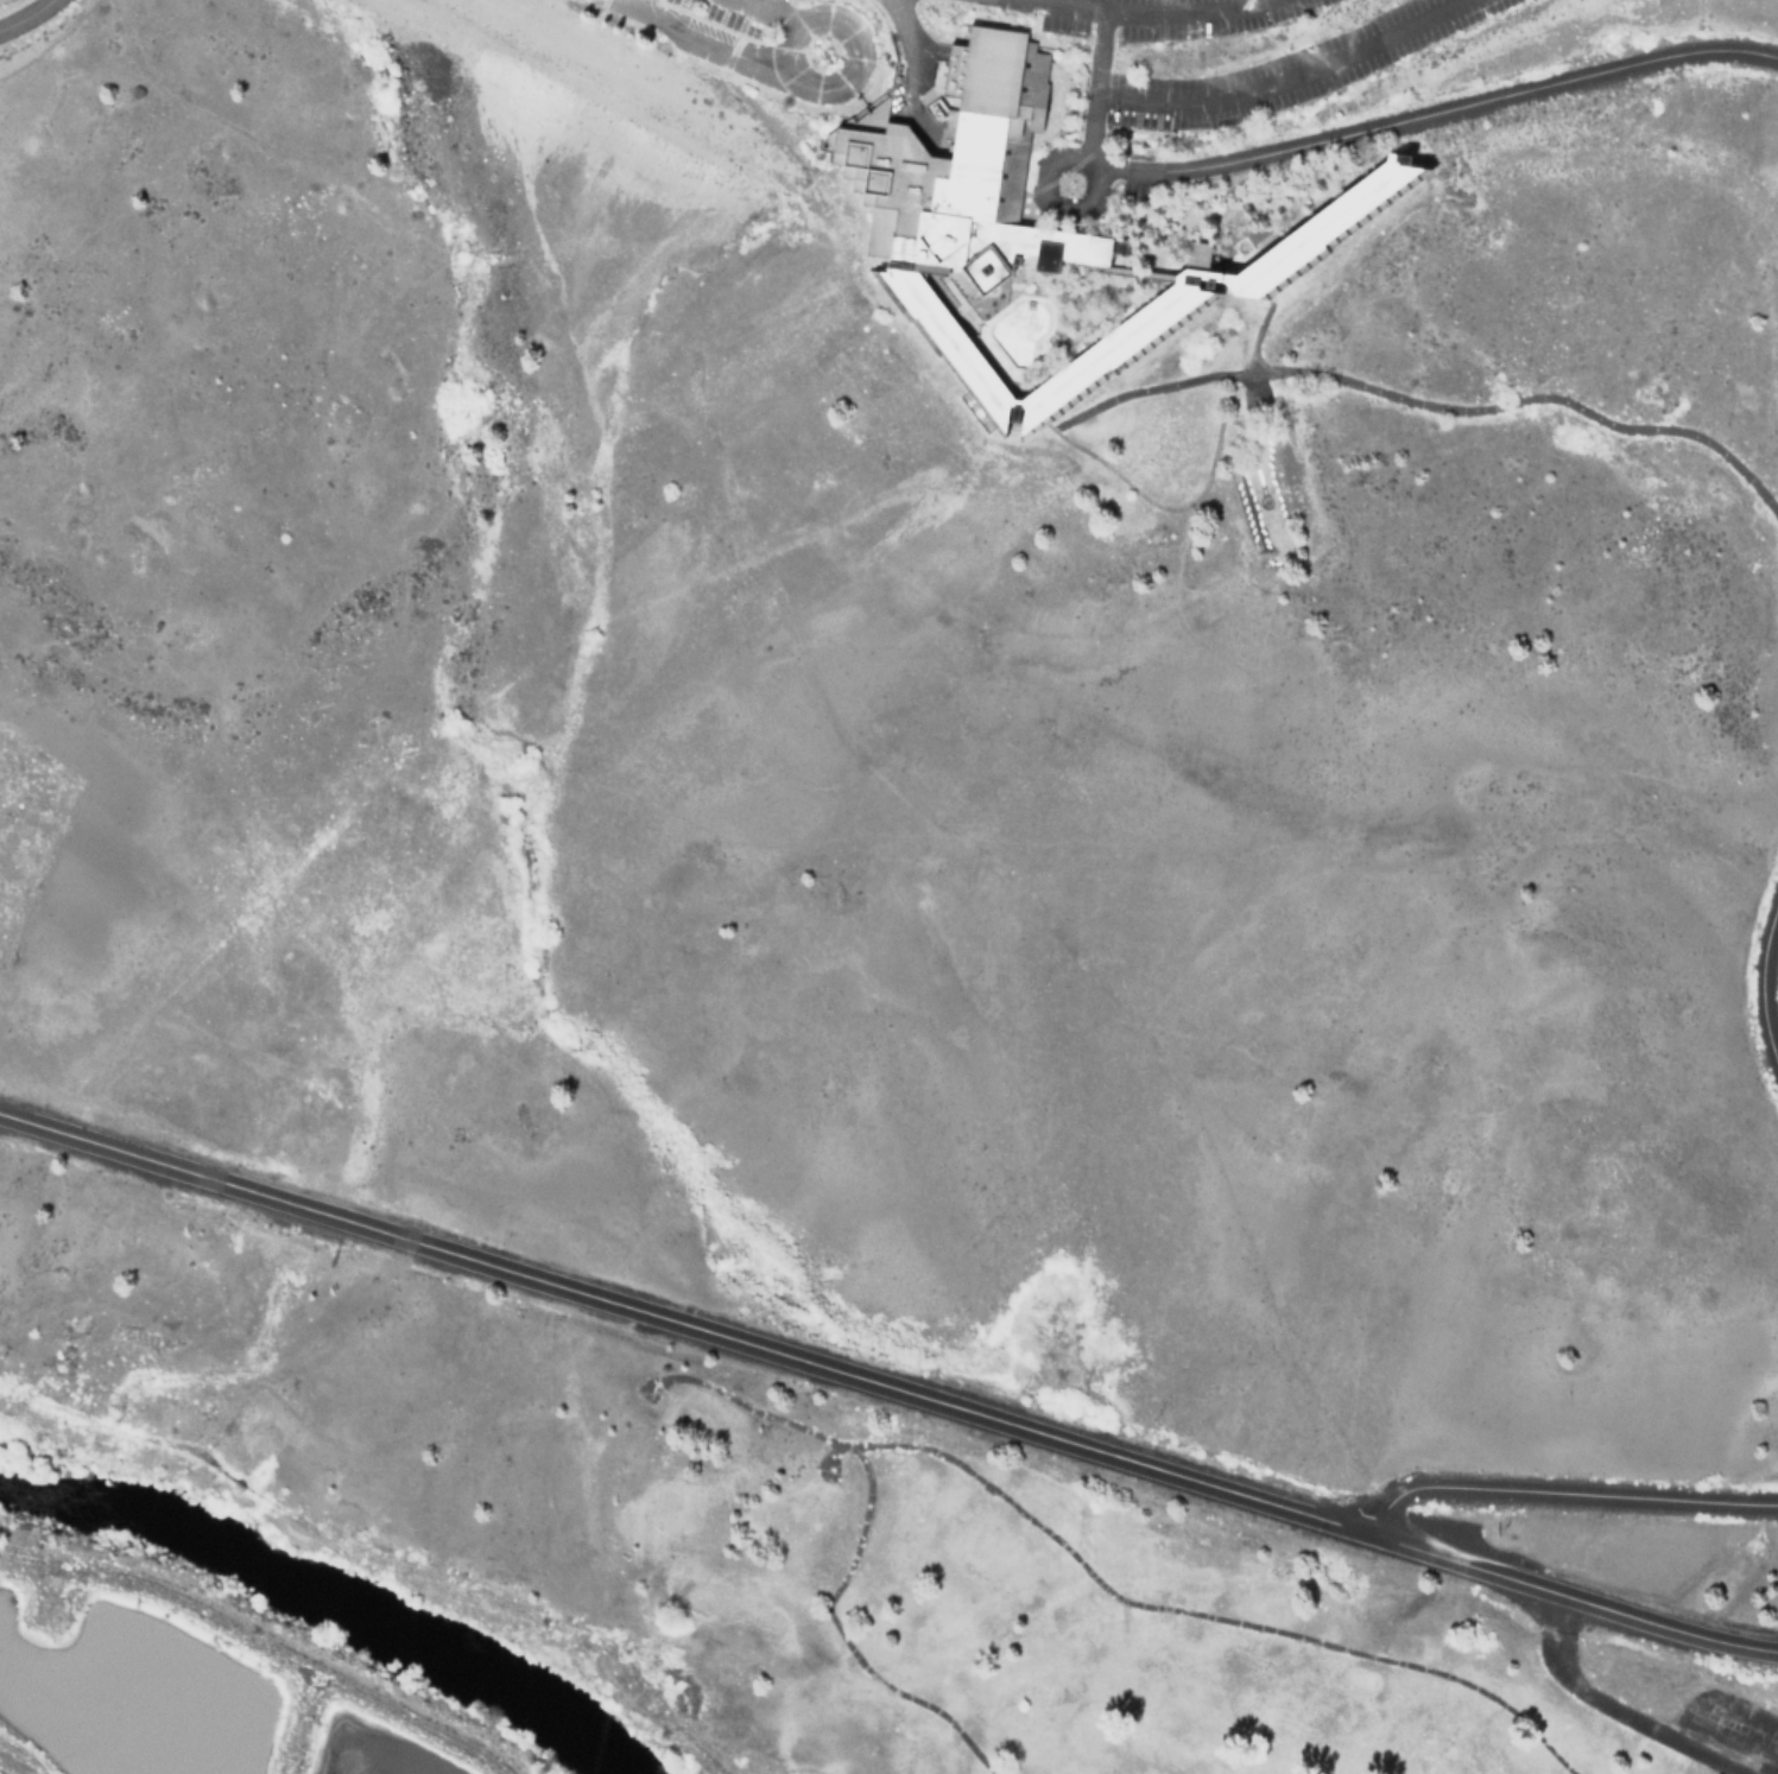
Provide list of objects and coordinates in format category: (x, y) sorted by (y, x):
road: (631, 0)
road: (1078, 4)
road: (27, 17)
parking lot: (1230, 53)
road: (1317, 134)
building: (1309, 218)
building: (1006, 270)
road: (1346, 756)
road: (1764, 975)
road: (888, 1386)
road: (1561, 1497)
river: (327, 1601)
park: (1138, 1648)

